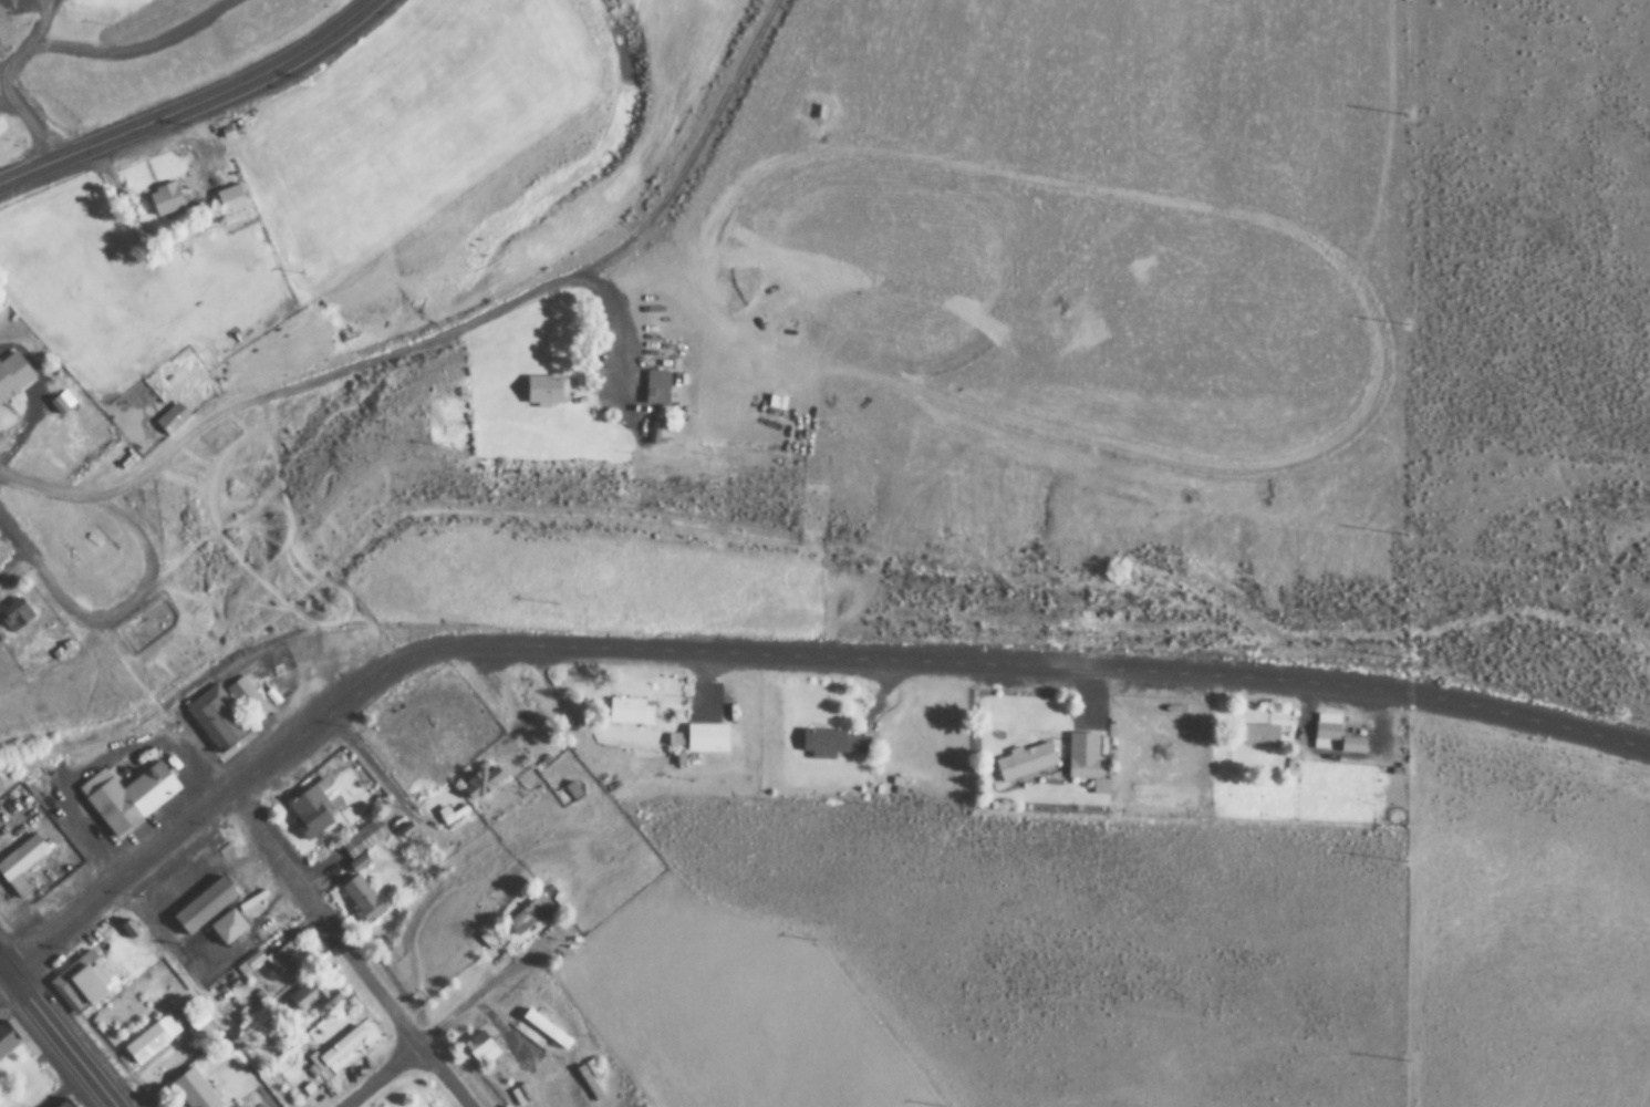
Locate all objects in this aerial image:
road: (216, 91)
road: (25, 120)
road: (25, 168)
building: (168, 200)
building: (231, 200)
building: (0, 317)
building: (14, 375)
building: (660, 386)
building: (551, 389)
building: (183, 411)
building: (662, 427)
road: (4, 521)
building: (19, 614)
road: (777, 653)
building: (632, 711)
road: (1512, 714)
building: (218, 720)
building: (1327, 735)
building: (1254, 736)
building: (708, 737)
building: (833, 743)
building: (1078, 756)
building: (1018, 762)
building: (485, 782)
building: (572, 789)
building: (131, 796)
building: (315, 804)
building: (363, 837)
building: (23, 862)
road: (113, 880)
building: (363, 898)
building: (207, 904)
building: (533, 909)
building: (230, 927)
road: (344, 949)
building: (287, 961)
road: (2, 964)
building: (80, 983)
building: (308, 996)
building: (546, 1030)
road: (61, 1037)
building: (10, 1038)
building: (153, 1039)
building: (480, 1045)
building: (340, 1048)
road: (380, 1076)
building: (588, 1079)
building: (195, 1090)
building: (70, 1104)

